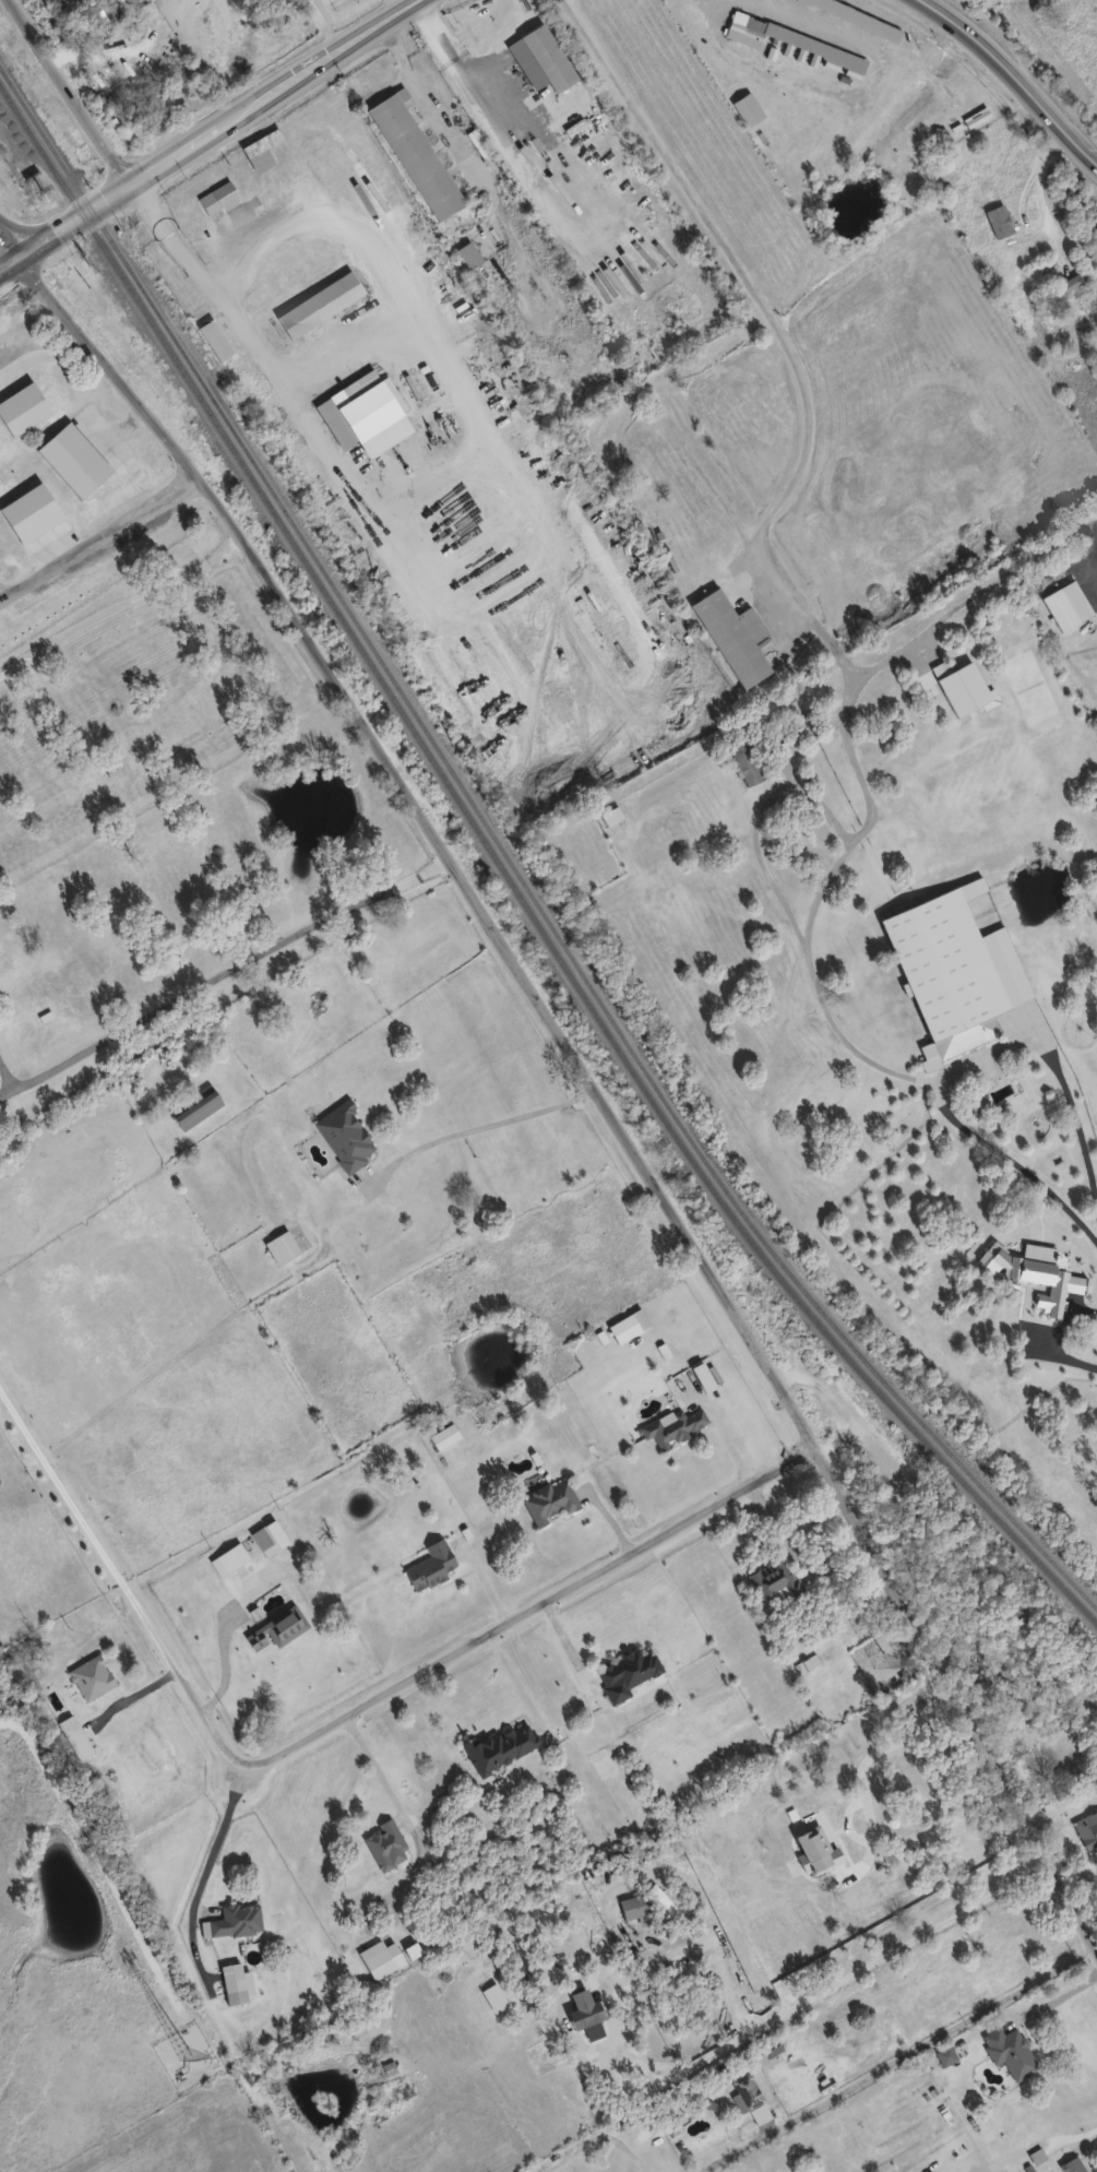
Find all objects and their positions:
road: (393, 5)
road: (405, 5)
building: (108, 10)
road: (323, 24)
road: (816, 24)
road: (367, 31)
building: (750, 33)
building: (538, 58)
road: (1010, 73)
road: (70, 91)
road: (494, 127)
road: (176, 151)
building: (413, 155)
road: (1033, 173)
building: (217, 198)
road: (8, 246)
road: (204, 258)
road: (8, 263)
building: (1065, 285)
building: (318, 304)
road: (767, 320)
road: (41, 357)
building: (358, 407)
road: (1077, 530)
road: (99, 535)
road: (0, 600)
road: (122, 604)
building: (346, 608)
road: (946, 608)
building: (1057, 608)
building: (731, 636)
building: (744, 763)
building: (111, 769)
road: (754, 824)
railway: (510, 867)
railway: (510, 883)
road: (816, 897)
building: (947, 971)
road: (226, 974)
road: (964, 1061)
road: (589, 1072)
building: (193, 1106)
road: (479, 1125)
building: (342, 1135)
building: (279, 1246)
road: (1070, 1360)
building: (687, 1379)
building: (672, 1426)
building: (442, 1435)
road: (730, 1443)
building: (534, 1474)
road: (67, 1484)
building: (548, 1499)
building: (264, 1533)
building: (230, 1556)
building: (428, 1565)
building: (773, 1579)
building: (275, 1628)
road: (572, 1655)
road: (445, 1664)
building: (627, 1671)
building: (90, 1677)
road: (131, 1696)
building: (500, 1746)
road: (381, 1764)
building: (1086, 1828)
building: (845, 1840)
building: (382, 1842)
road: (213, 1861)
road: (807, 1889)
road: (697, 1895)
building: (631, 1906)
building: (235, 1920)
building: (375, 1962)
building: (230, 1983)
road: (728, 1983)
road: (818, 1993)
road: (1056, 2001)
building: (583, 2015)
building: (1009, 2051)
building: (943, 2054)
road: (904, 2055)
building: (743, 2091)
building: (697, 2118)
road: (1075, 2138)
road: (599, 2143)

